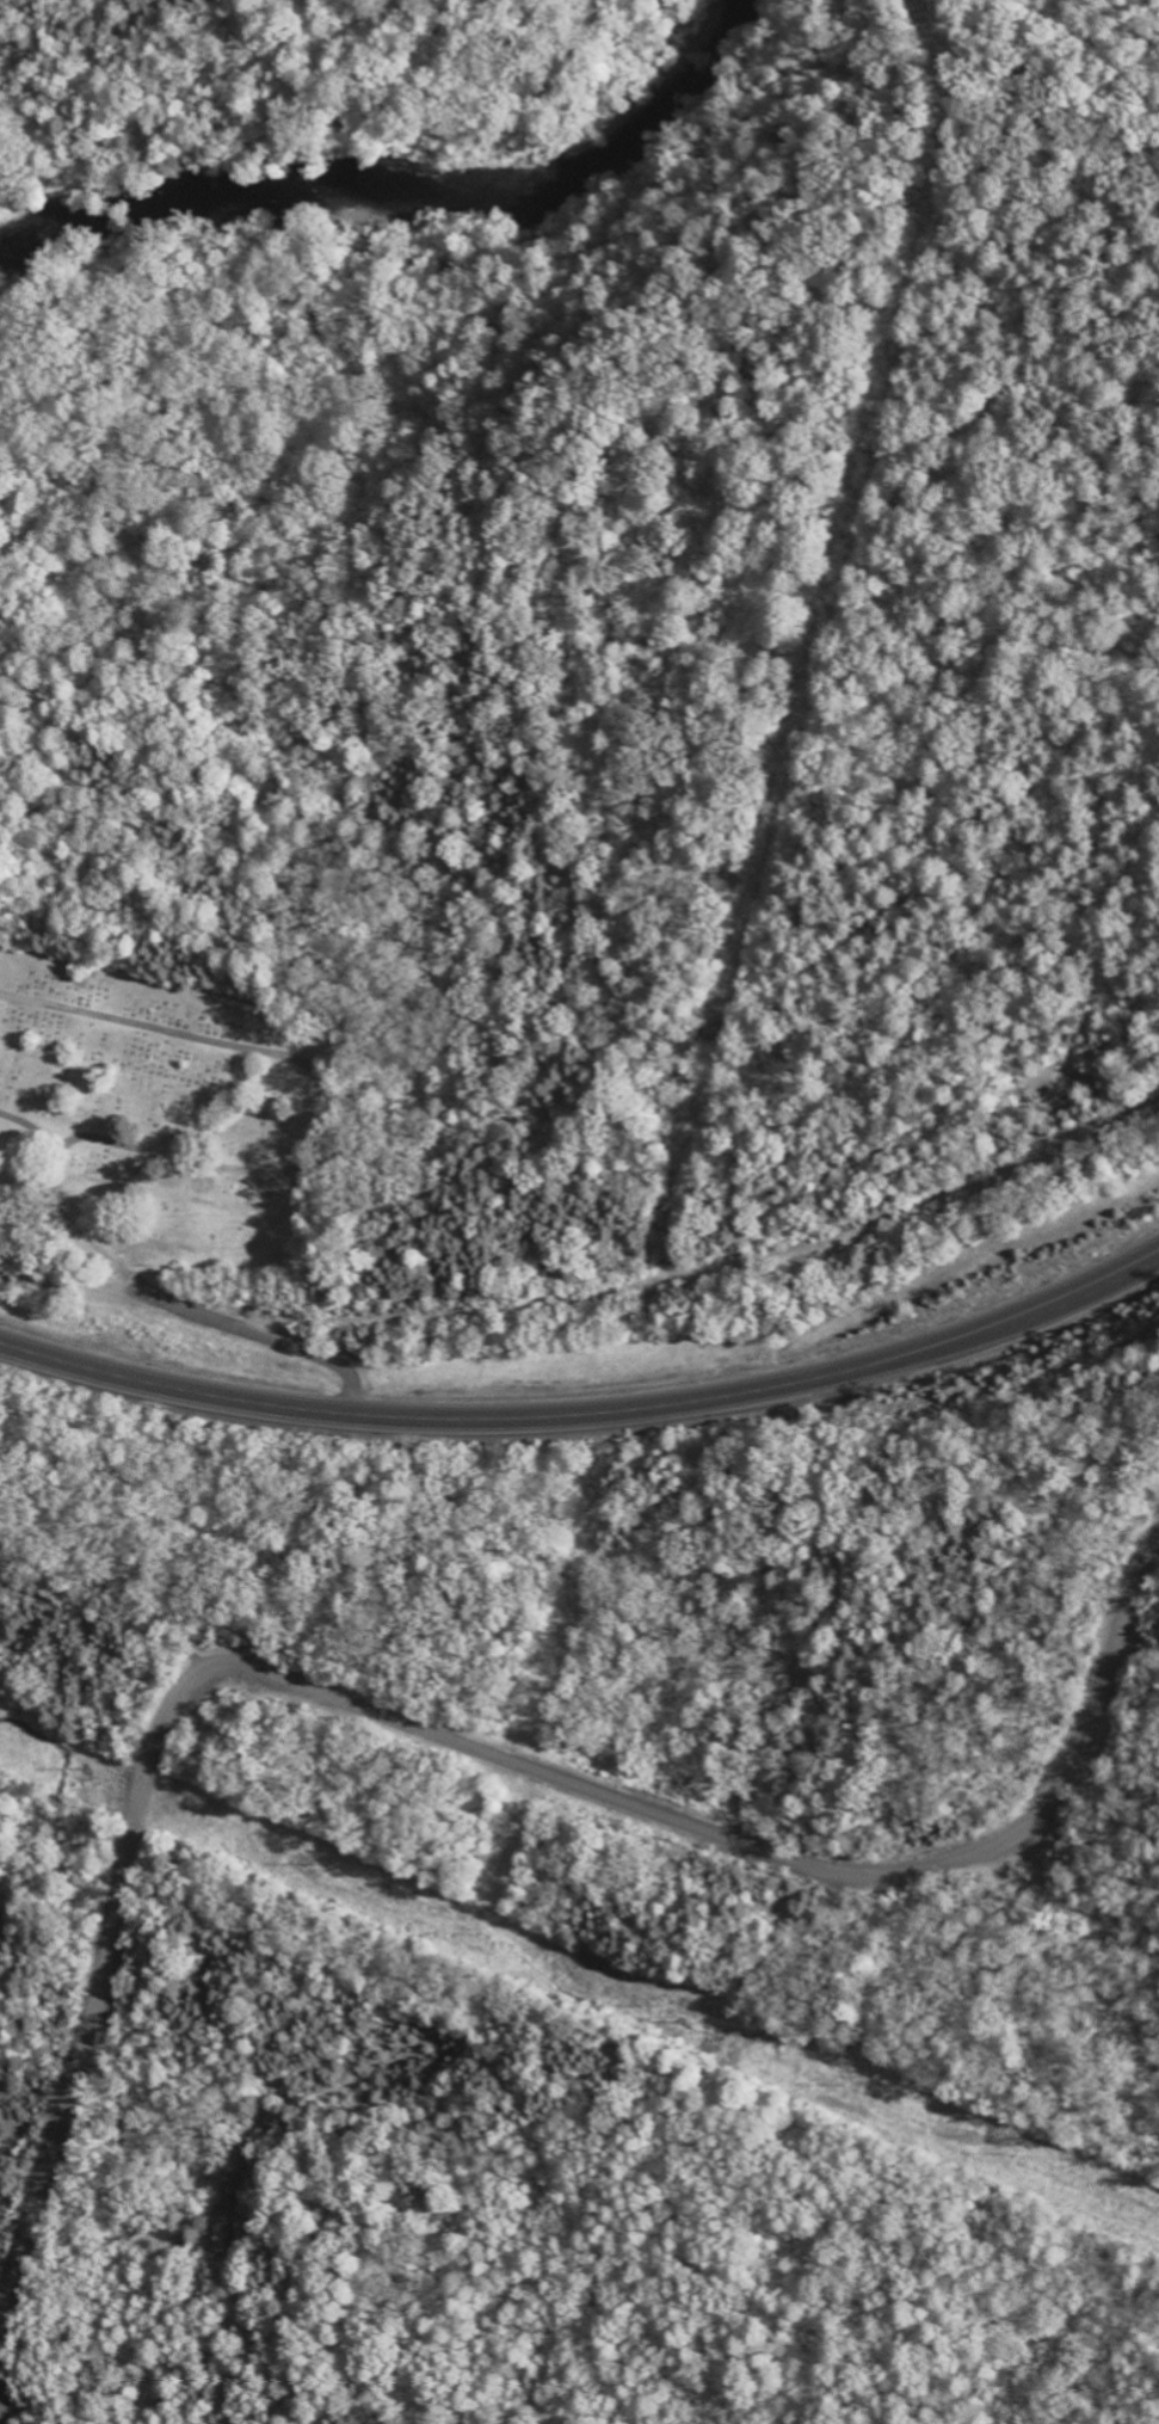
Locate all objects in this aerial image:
river: (408, 196)
park: (165, 1109)
road: (588, 1414)
road: (174, 1542)
road: (88, 1665)
road: (750, 1841)
road: (91, 2020)

